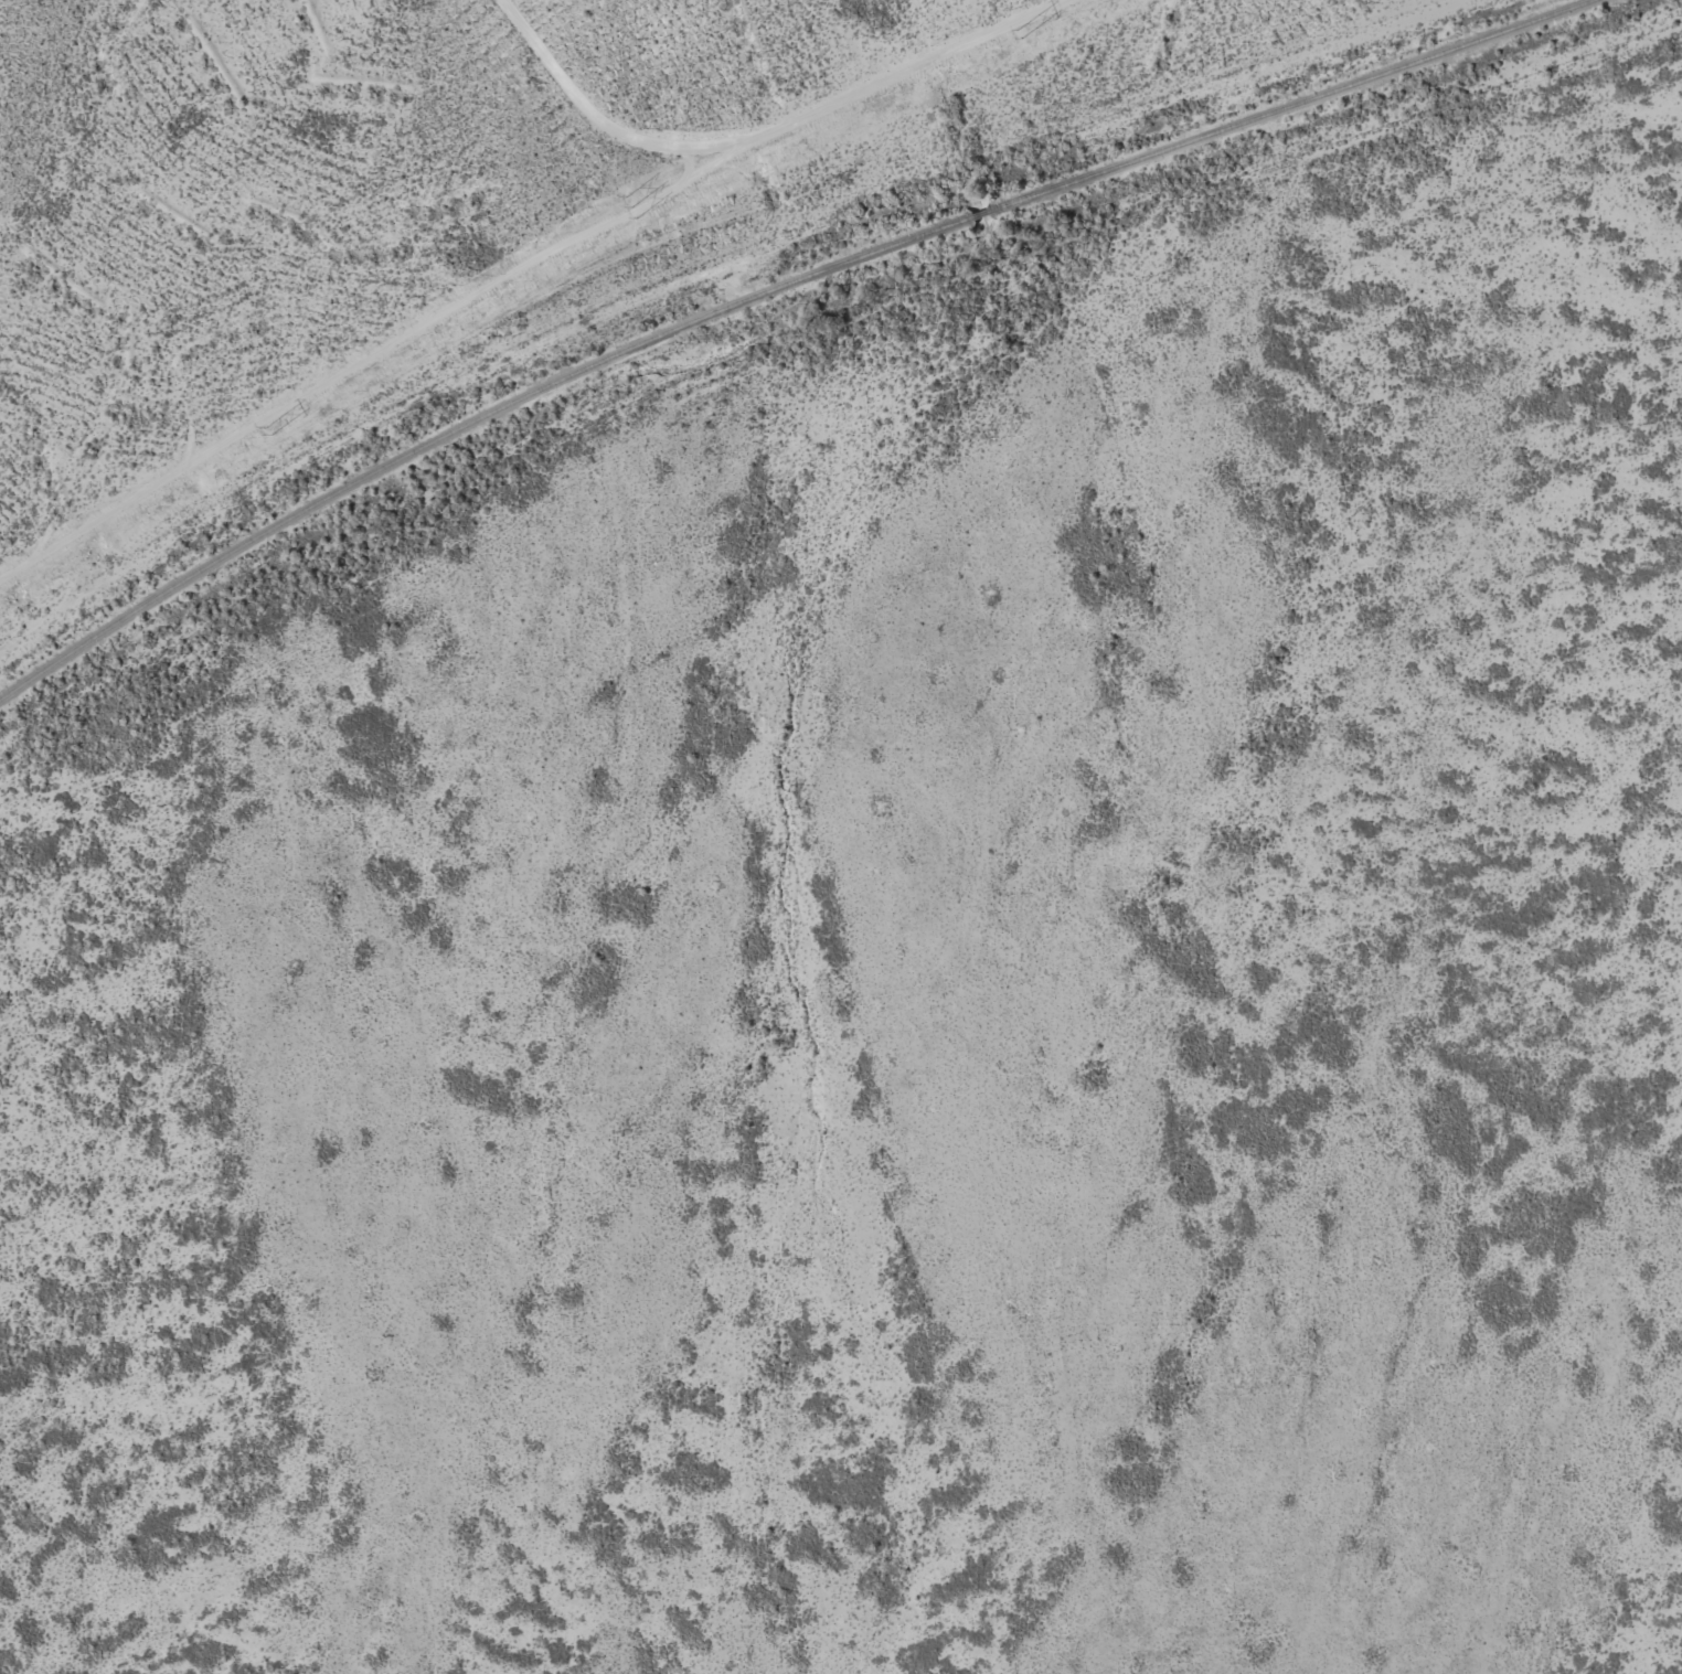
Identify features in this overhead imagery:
power tower: (1018, 34)
railway: (1291, 105)
power tower: (630, 206)
railway: (981, 213)
road: (636, 260)
railway: (469, 424)
road: (817, 429)
power tower: (265, 430)

